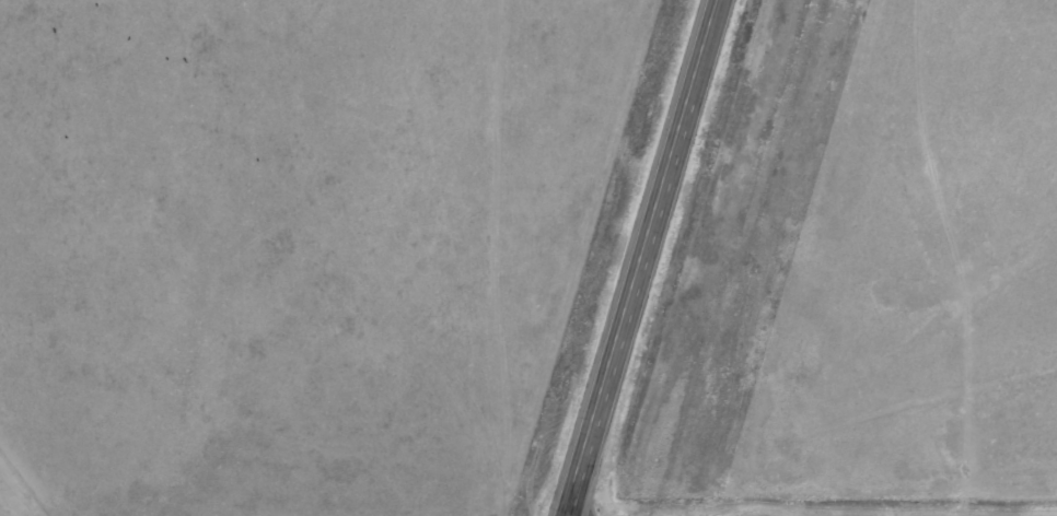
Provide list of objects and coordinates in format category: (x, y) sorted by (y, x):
road: (637, 258)

